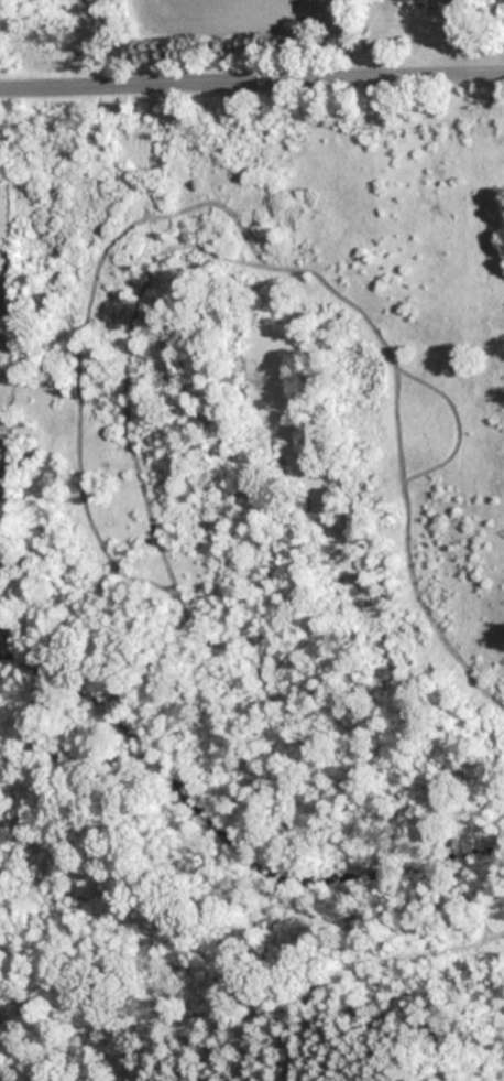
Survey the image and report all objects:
building: (409, 0)
road: (252, 79)

